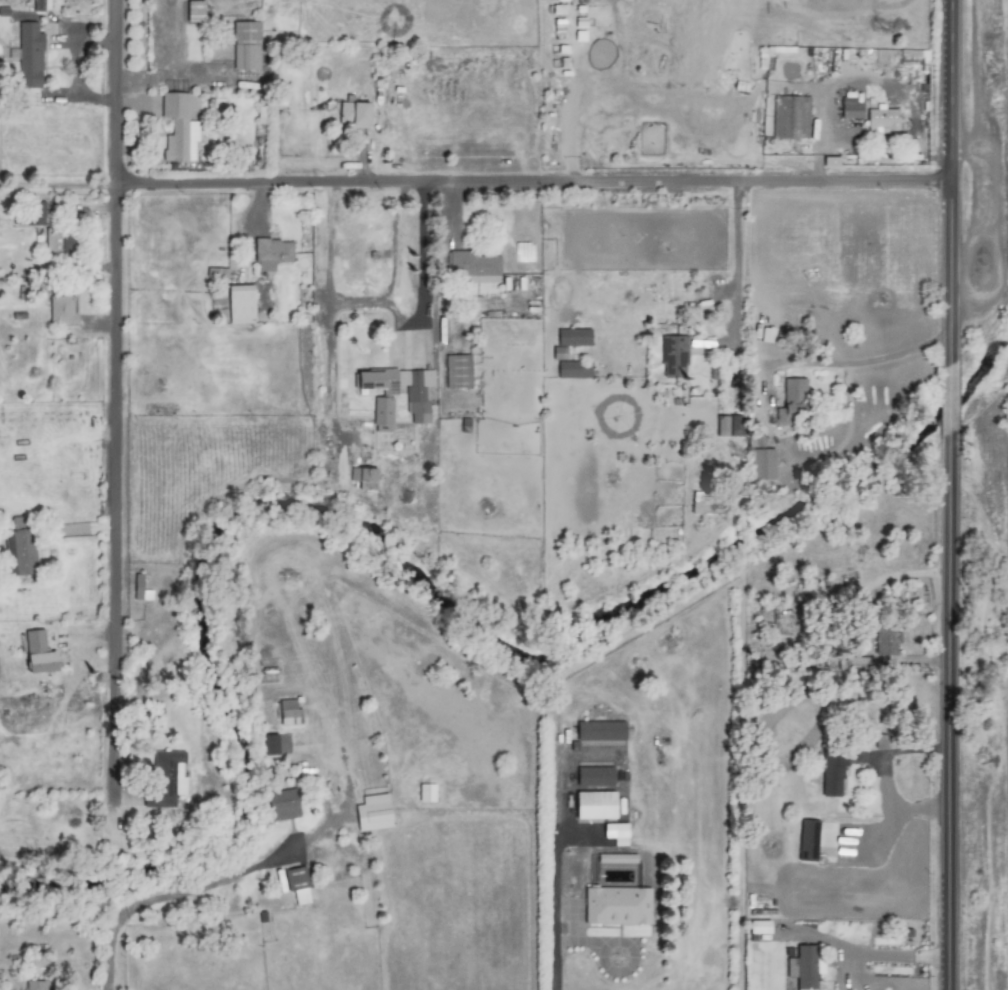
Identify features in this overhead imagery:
building: (40, 5)
building: (194, 11)
building: (246, 44)
building: (28, 54)
building: (850, 108)
building: (353, 113)
building: (790, 116)
building: (178, 128)
road: (817, 135)
road: (472, 178)
road: (944, 180)
road: (979, 209)
road: (450, 211)
building: (31, 212)
road: (385, 237)
road: (322, 238)
building: (60, 241)
building: (271, 252)
road: (735, 260)
building: (472, 266)
road: (368, 295)
building: (240, 303)
building: (61, 309)
building: (766, 334)
building: (573, 336)
building: (558, 352)
building: (672, 354)
road: (846, 363)
building: (573, 369)
building: (457, 370)
road: (942, 392)
road: (110, 398)
building: (791, 400)
building: (416, 404)
building: (382, 410)
building: (721, 425)
building: (760, 458)
building: (362, 474)
building: (703, 504)
building: (19, 548)
road: (857, 585)
building: (139, 588)
building: (885, 640)
building: (38, 653)
building: (856, 663)
road: (946, 707)
building: (288, 712)
building: (600, 730)
building: (270, 744)
building: (832, 773)
building: (168, 776)
building: (594, 776)
road: (881, 776)
building: (425, 792)
building: (281, 804)
building: (594, 804)
building: (372, 812)
building: (615, 832)
building: (815, 842)
road: (551, 876)
road: (228, 879)
building: (297, 884)
building: (616, 905)
building: (758, 926)
road: (882, 953)
building: (804, 967)
building: (35, 985)

